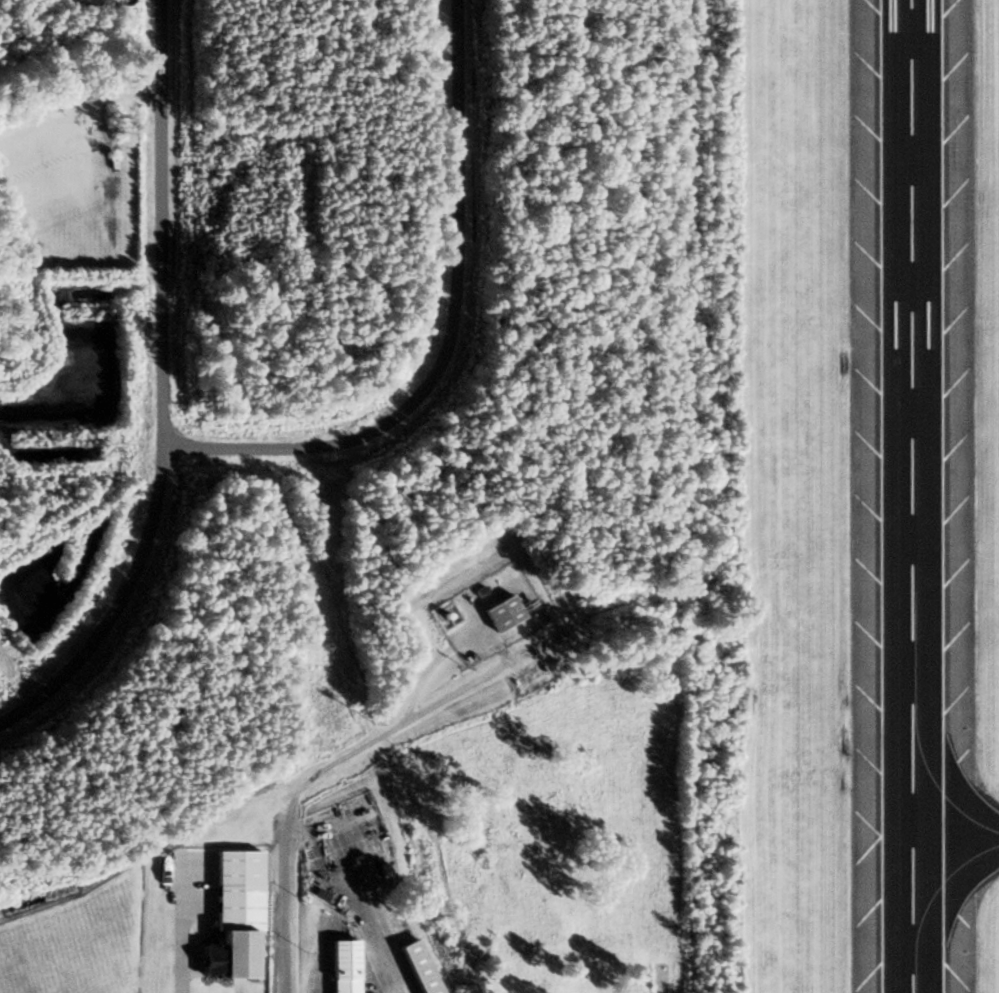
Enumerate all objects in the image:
airport runway: (911, 496)
airport: (803, 499)
building: (501, 613)
road: (394, 729)
airport taxiway: (955, 839)
road: (281, 898)
building: (234, 954)
building: (342, 966)
building: (416, 967)

